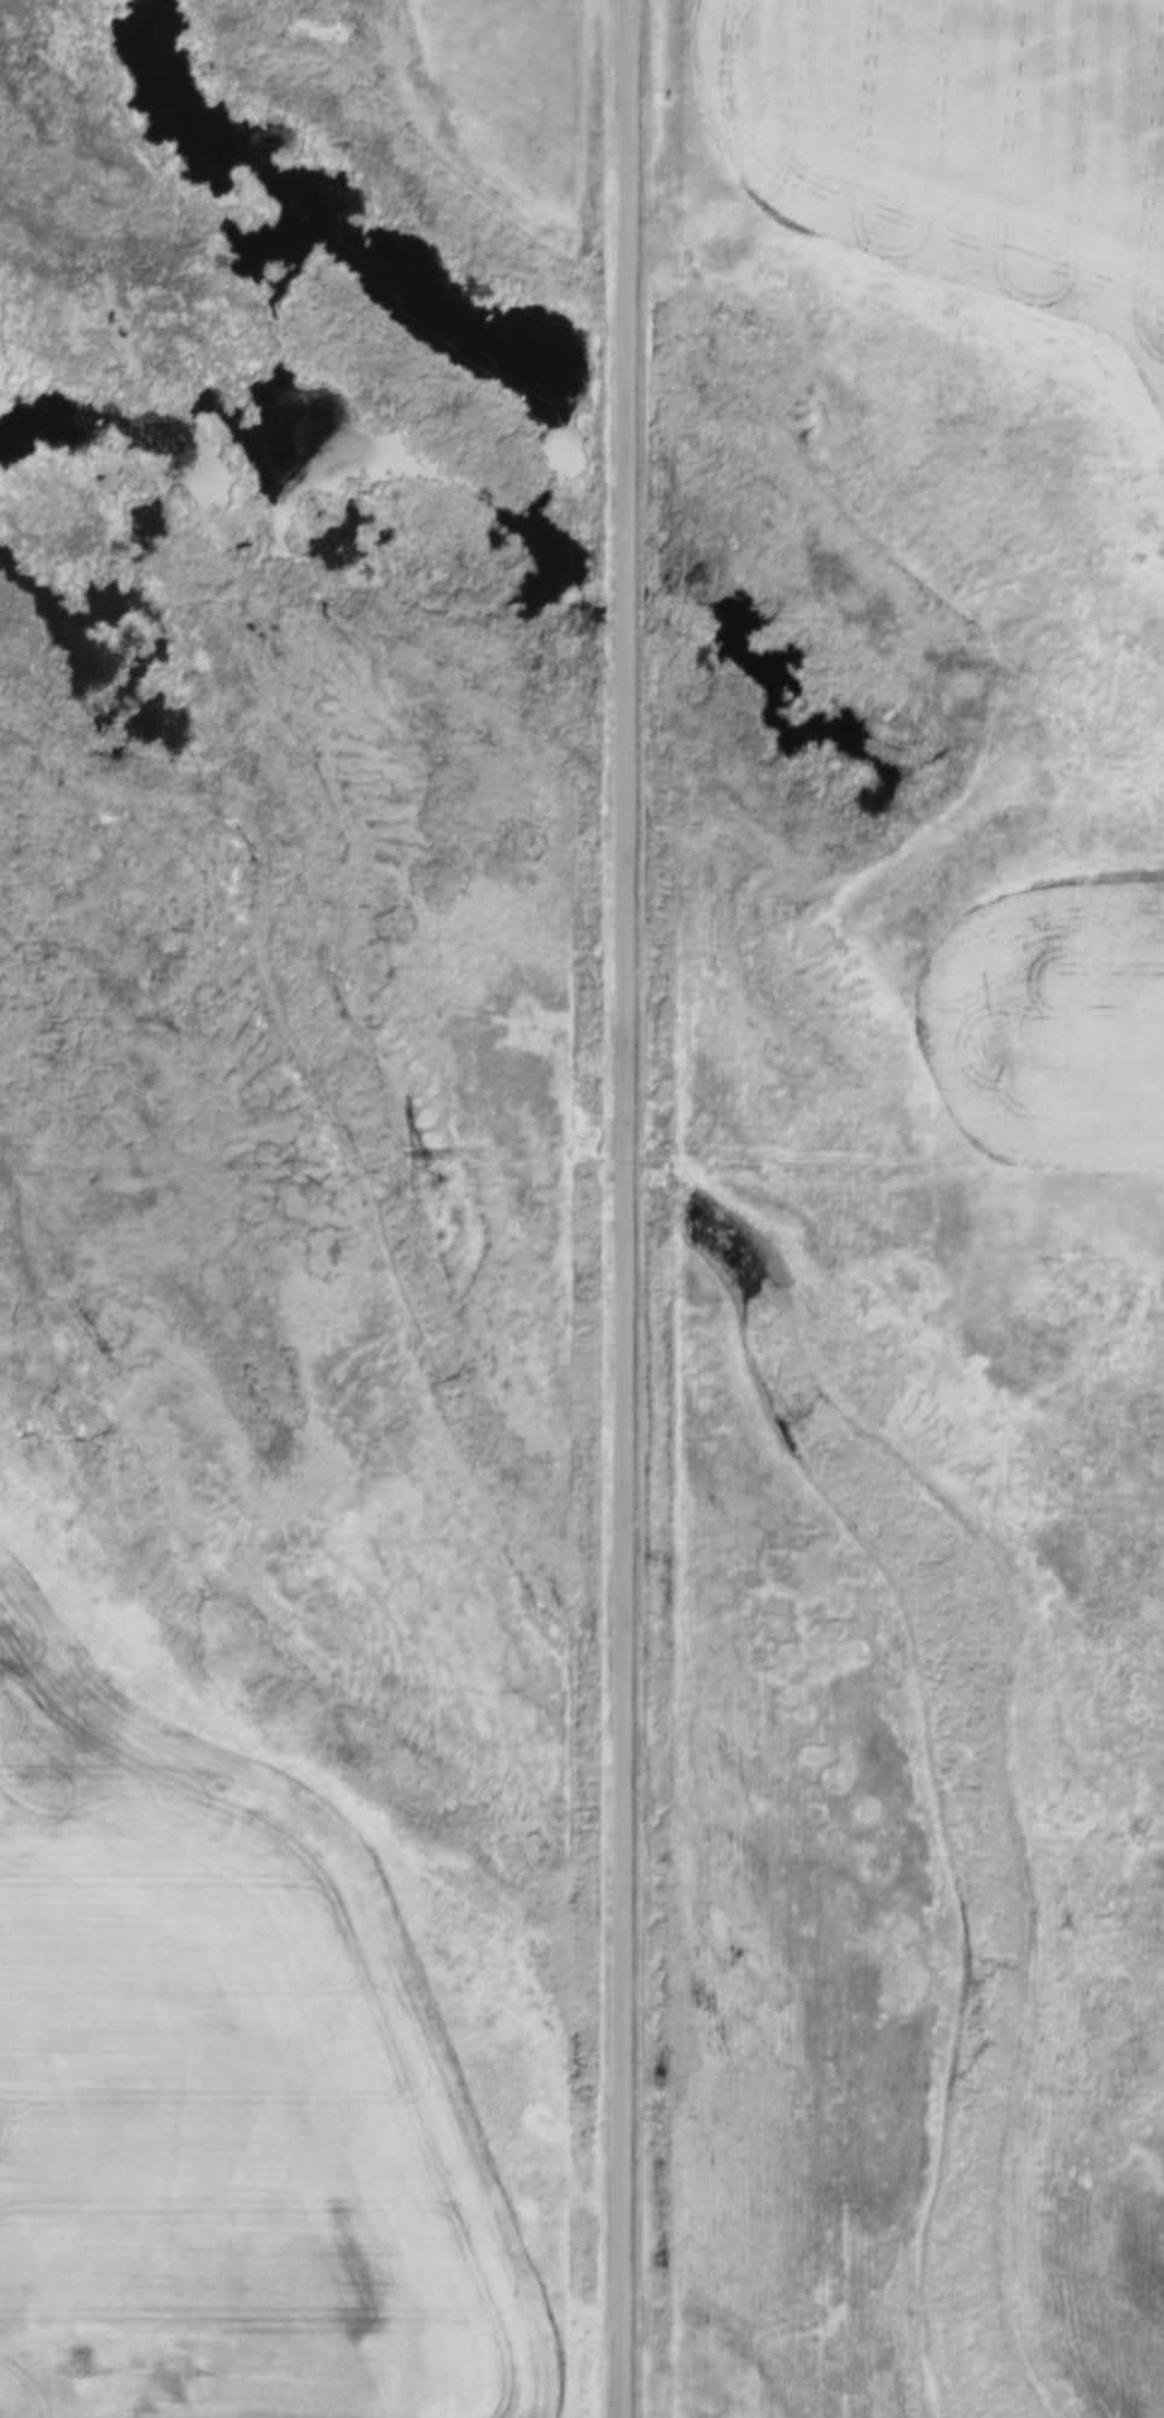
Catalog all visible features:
power tower: (423, 1179)
road: (624, 1208)

